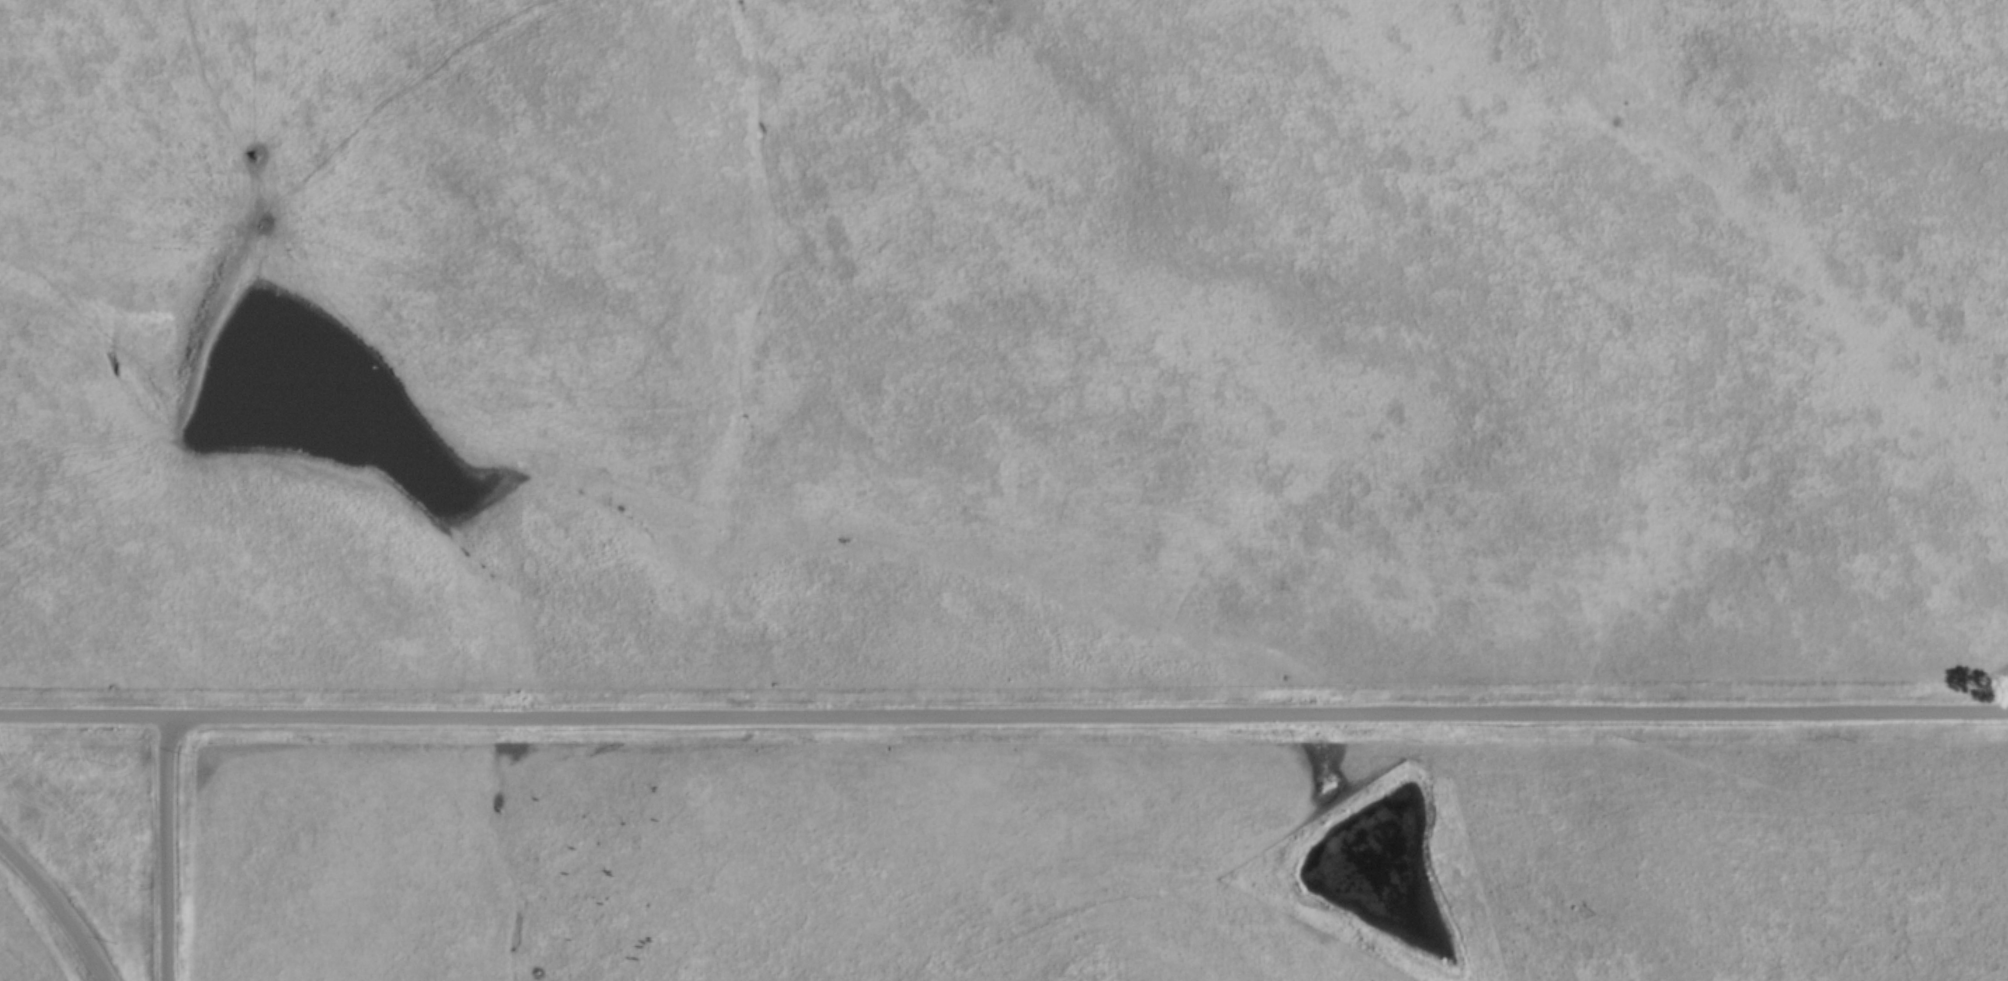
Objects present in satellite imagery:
road: (1003, 719)
road: (167, 850)
road: (62, 903)

